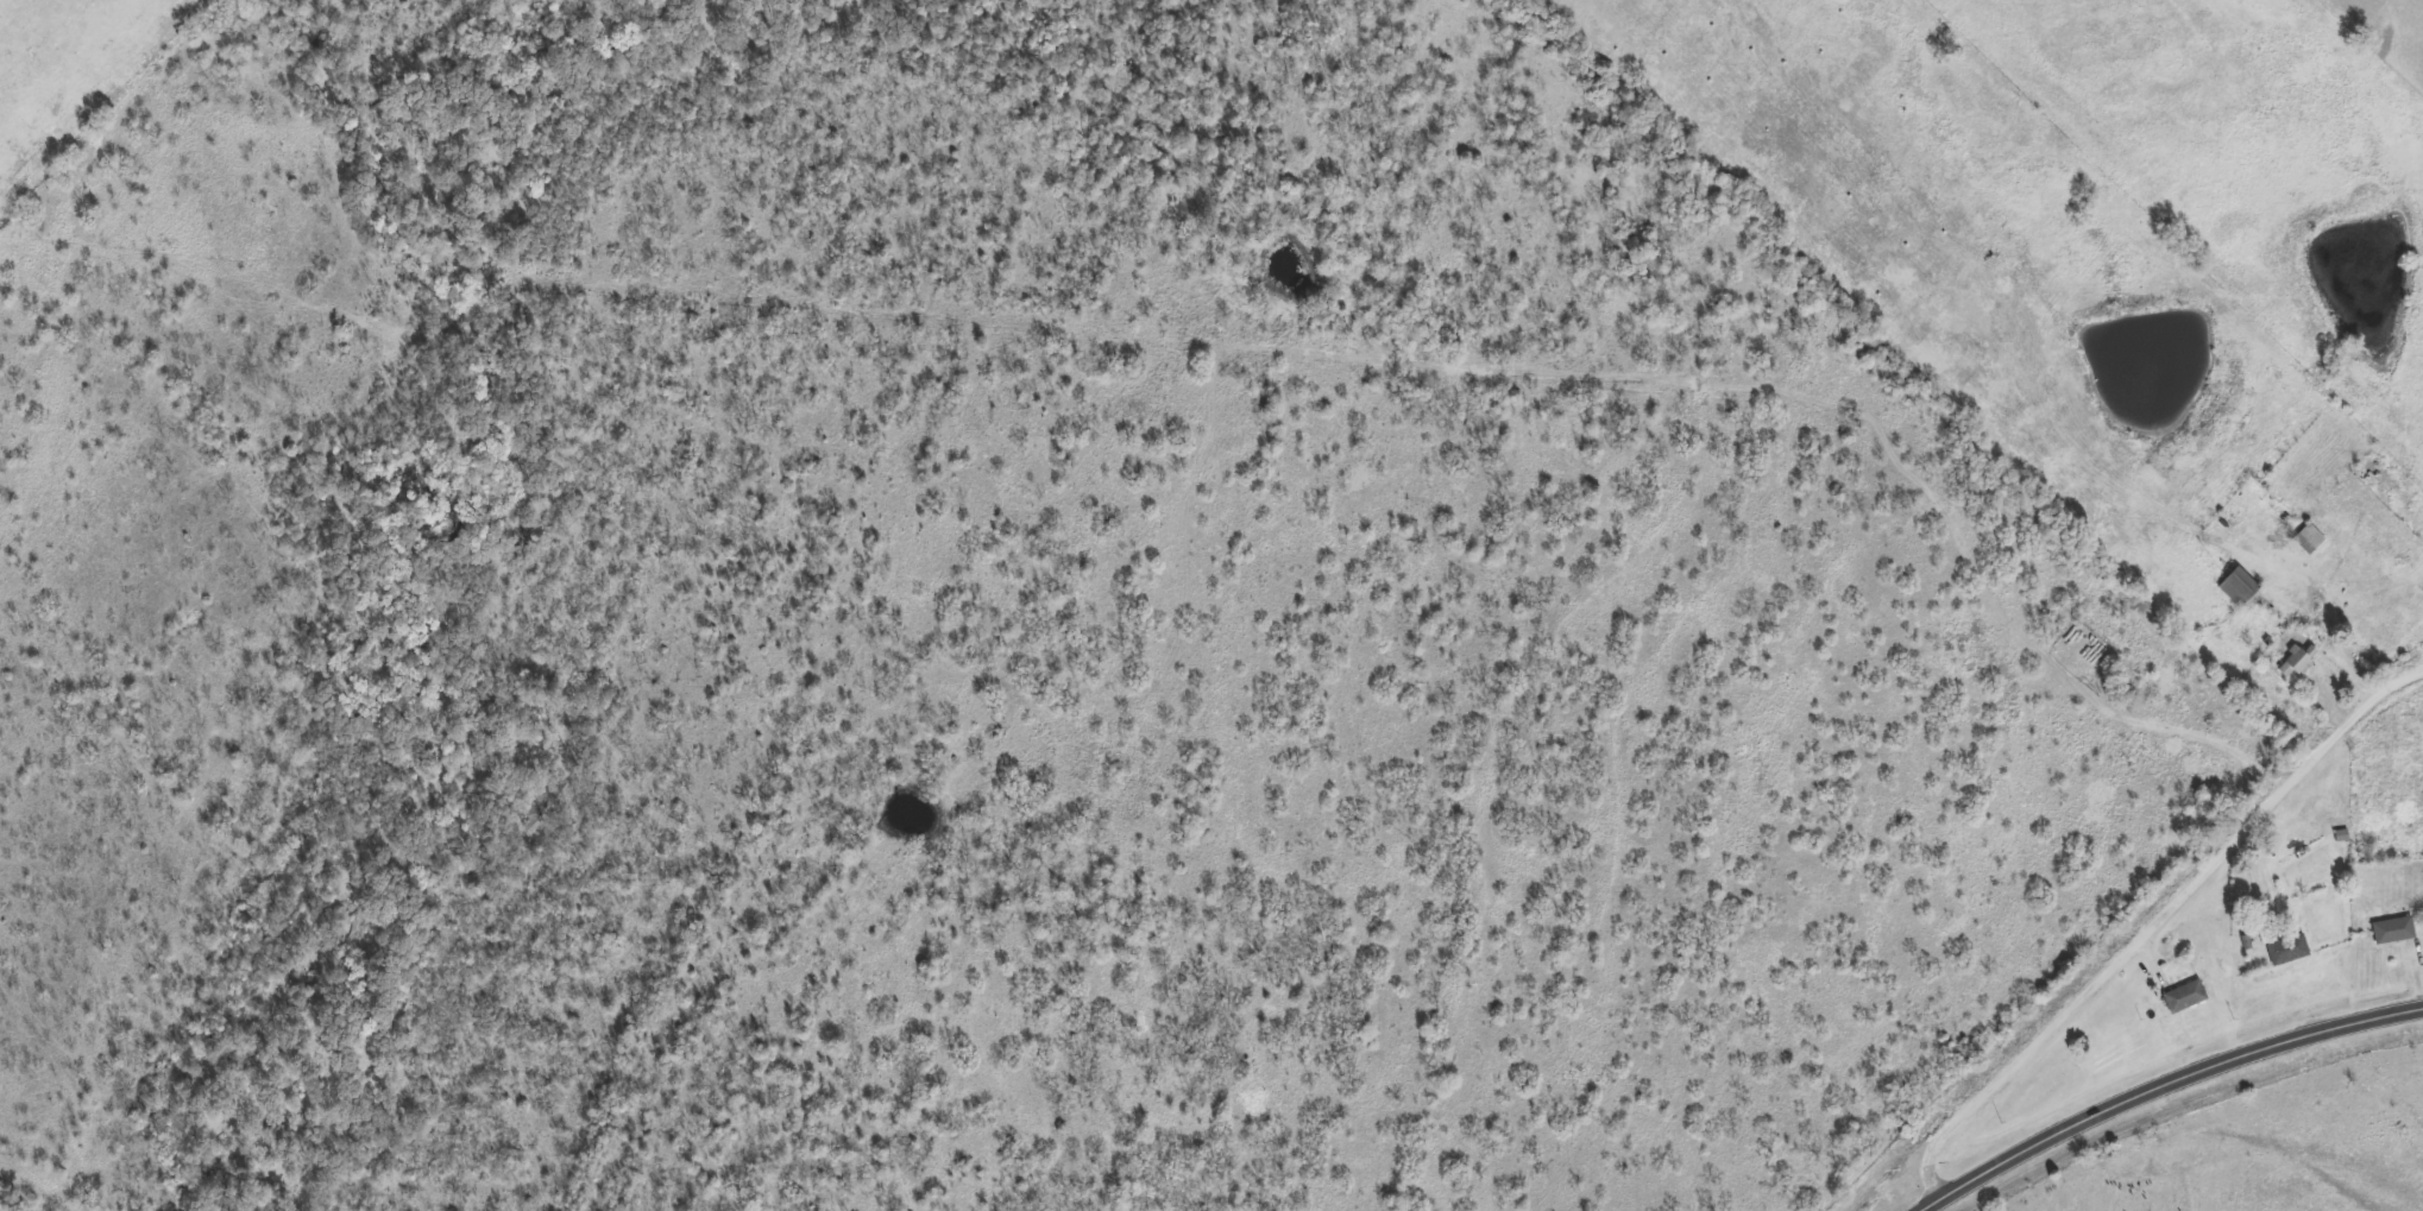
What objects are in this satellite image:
building: (2305, 538)
building: (2235, 587)
building: (2296, 660)
road: (2153, 919)
building: (2392, 931)
building: (2286, 950)
building: (2184, 996)
road: (2158, 1084)

